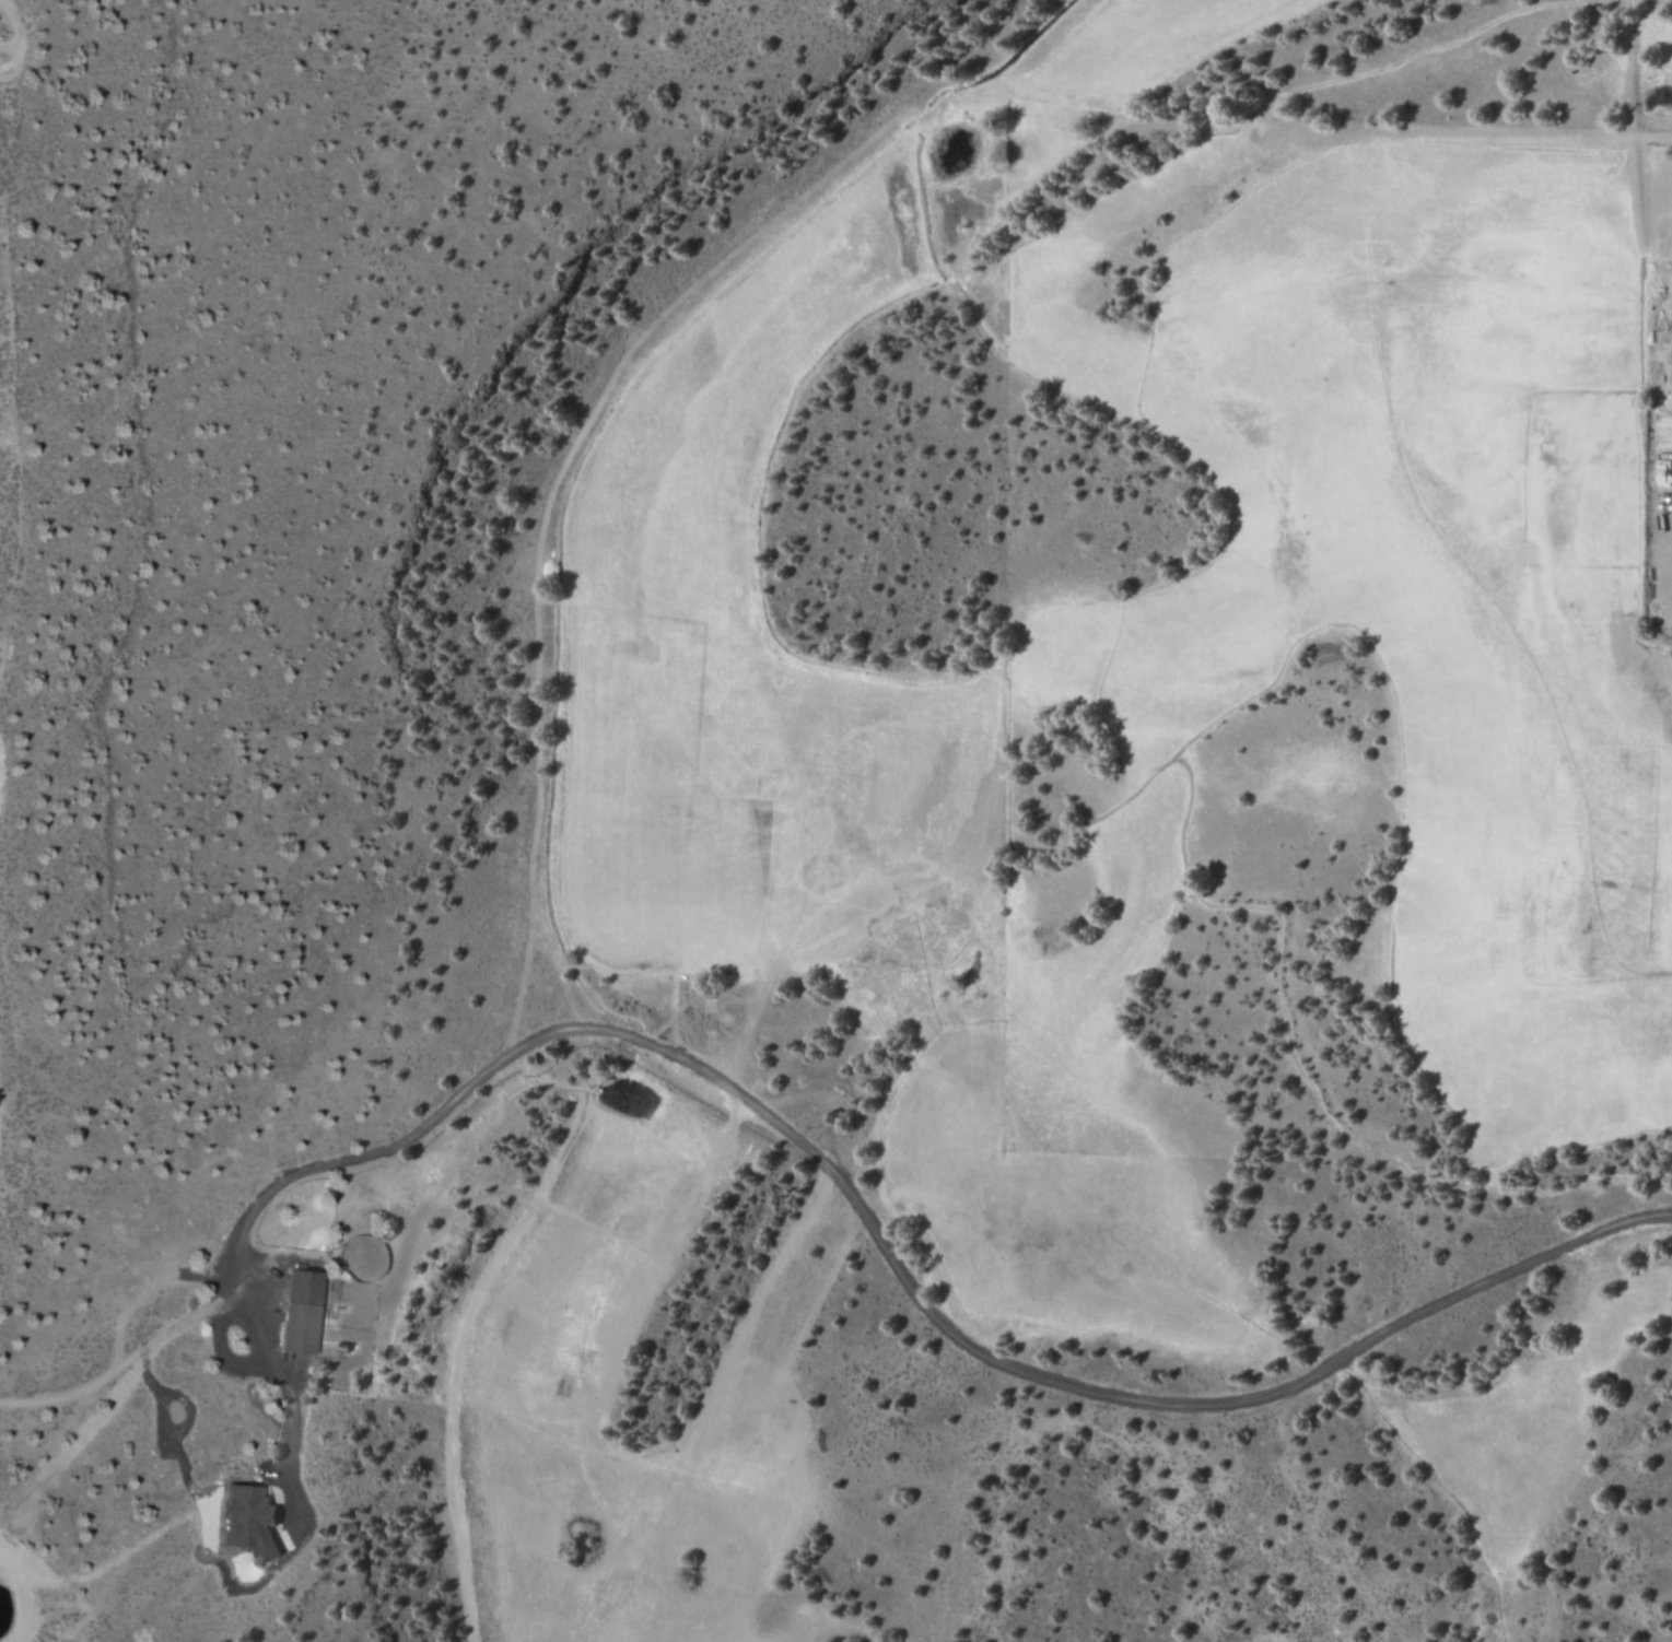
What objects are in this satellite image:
crop: (1220, 24)
road: (560, 472)
crop: (1387, 562)
road: (552, 966)
road: (131, 1141)
road: (819, 1165)
building: (303, 1311)
building: (252, 1522)

